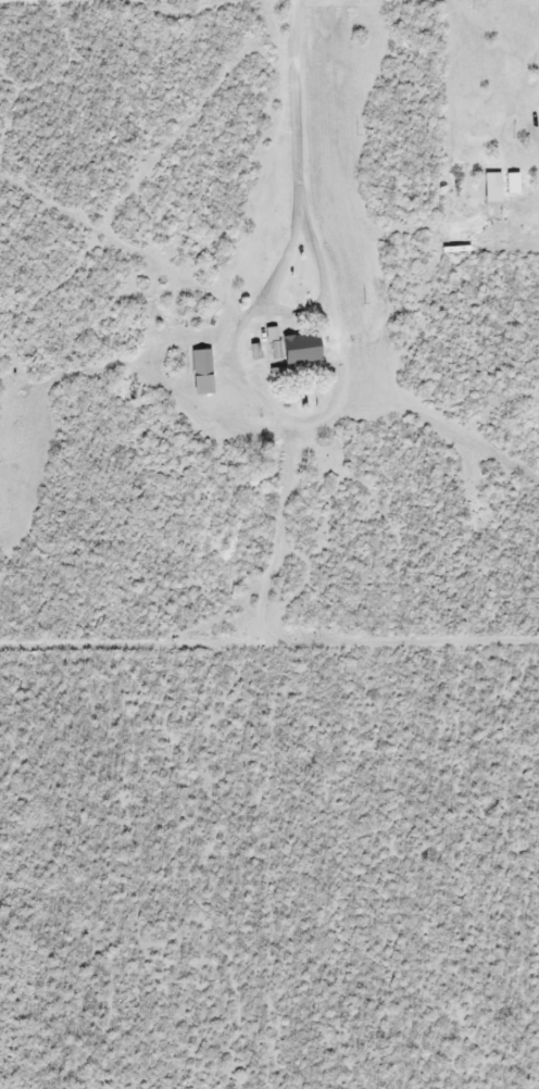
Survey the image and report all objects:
building: (292, 347)
building: (200, 372)

